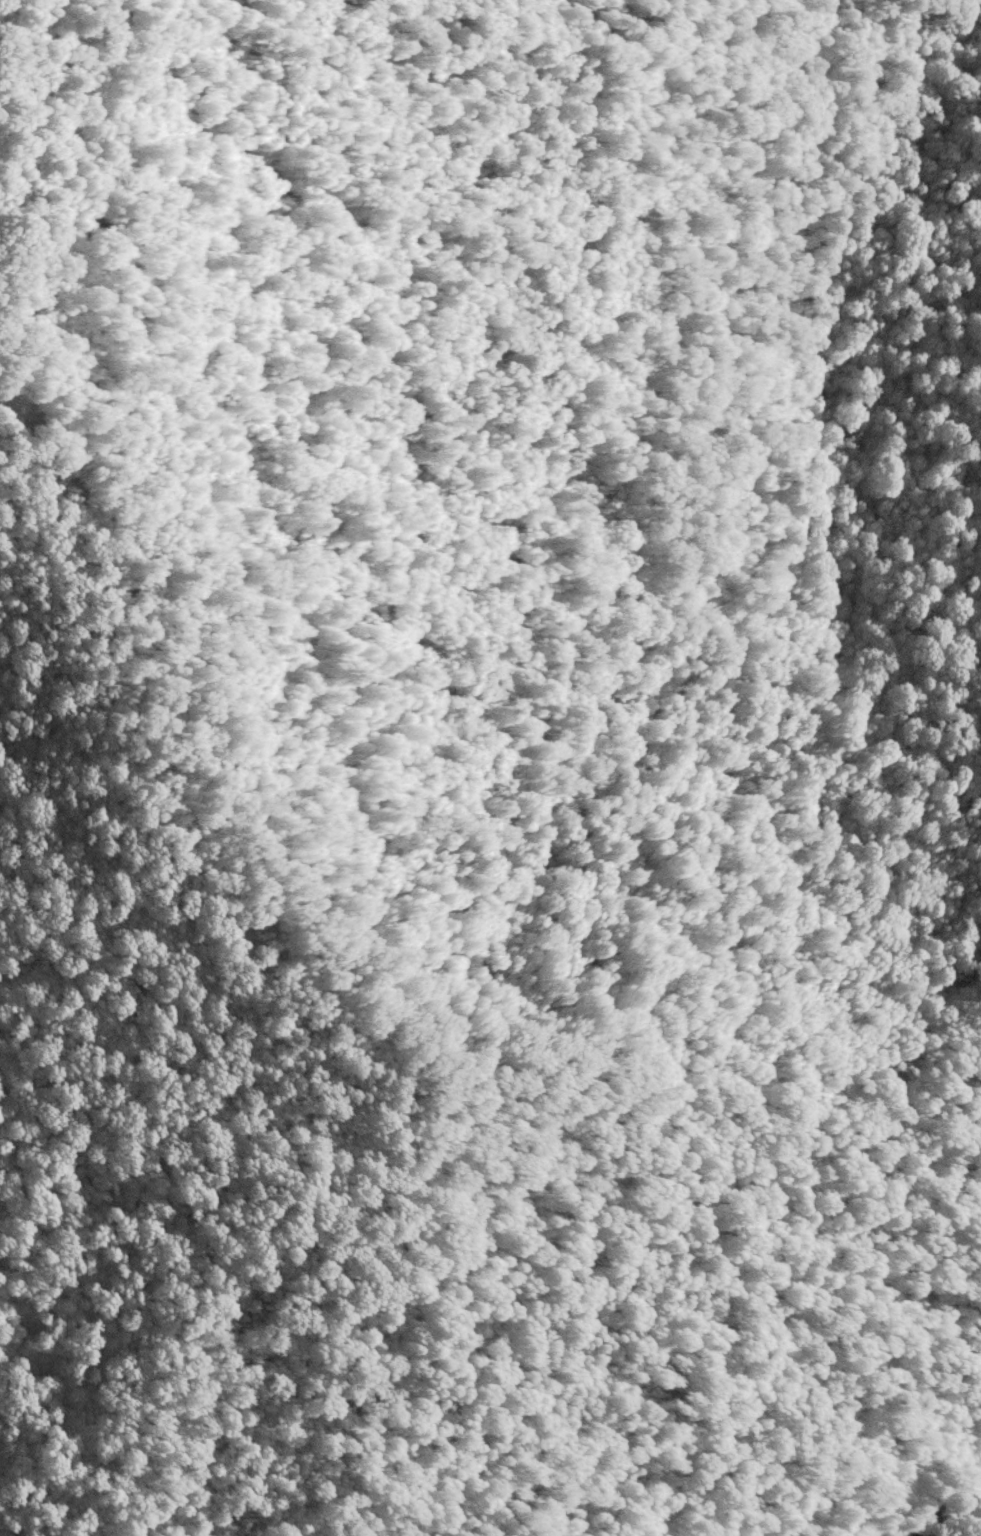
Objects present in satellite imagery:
road: (974, 1532)

